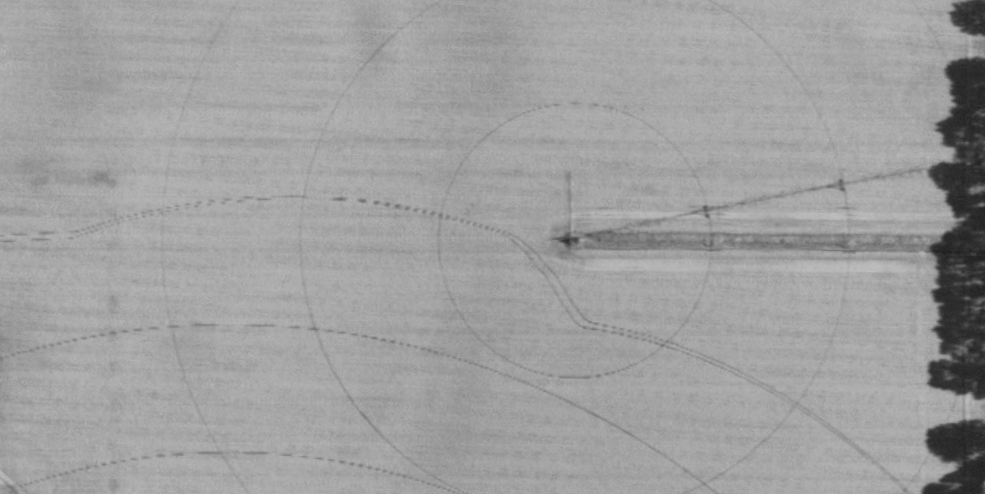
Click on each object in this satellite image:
crop: (492, 247)

